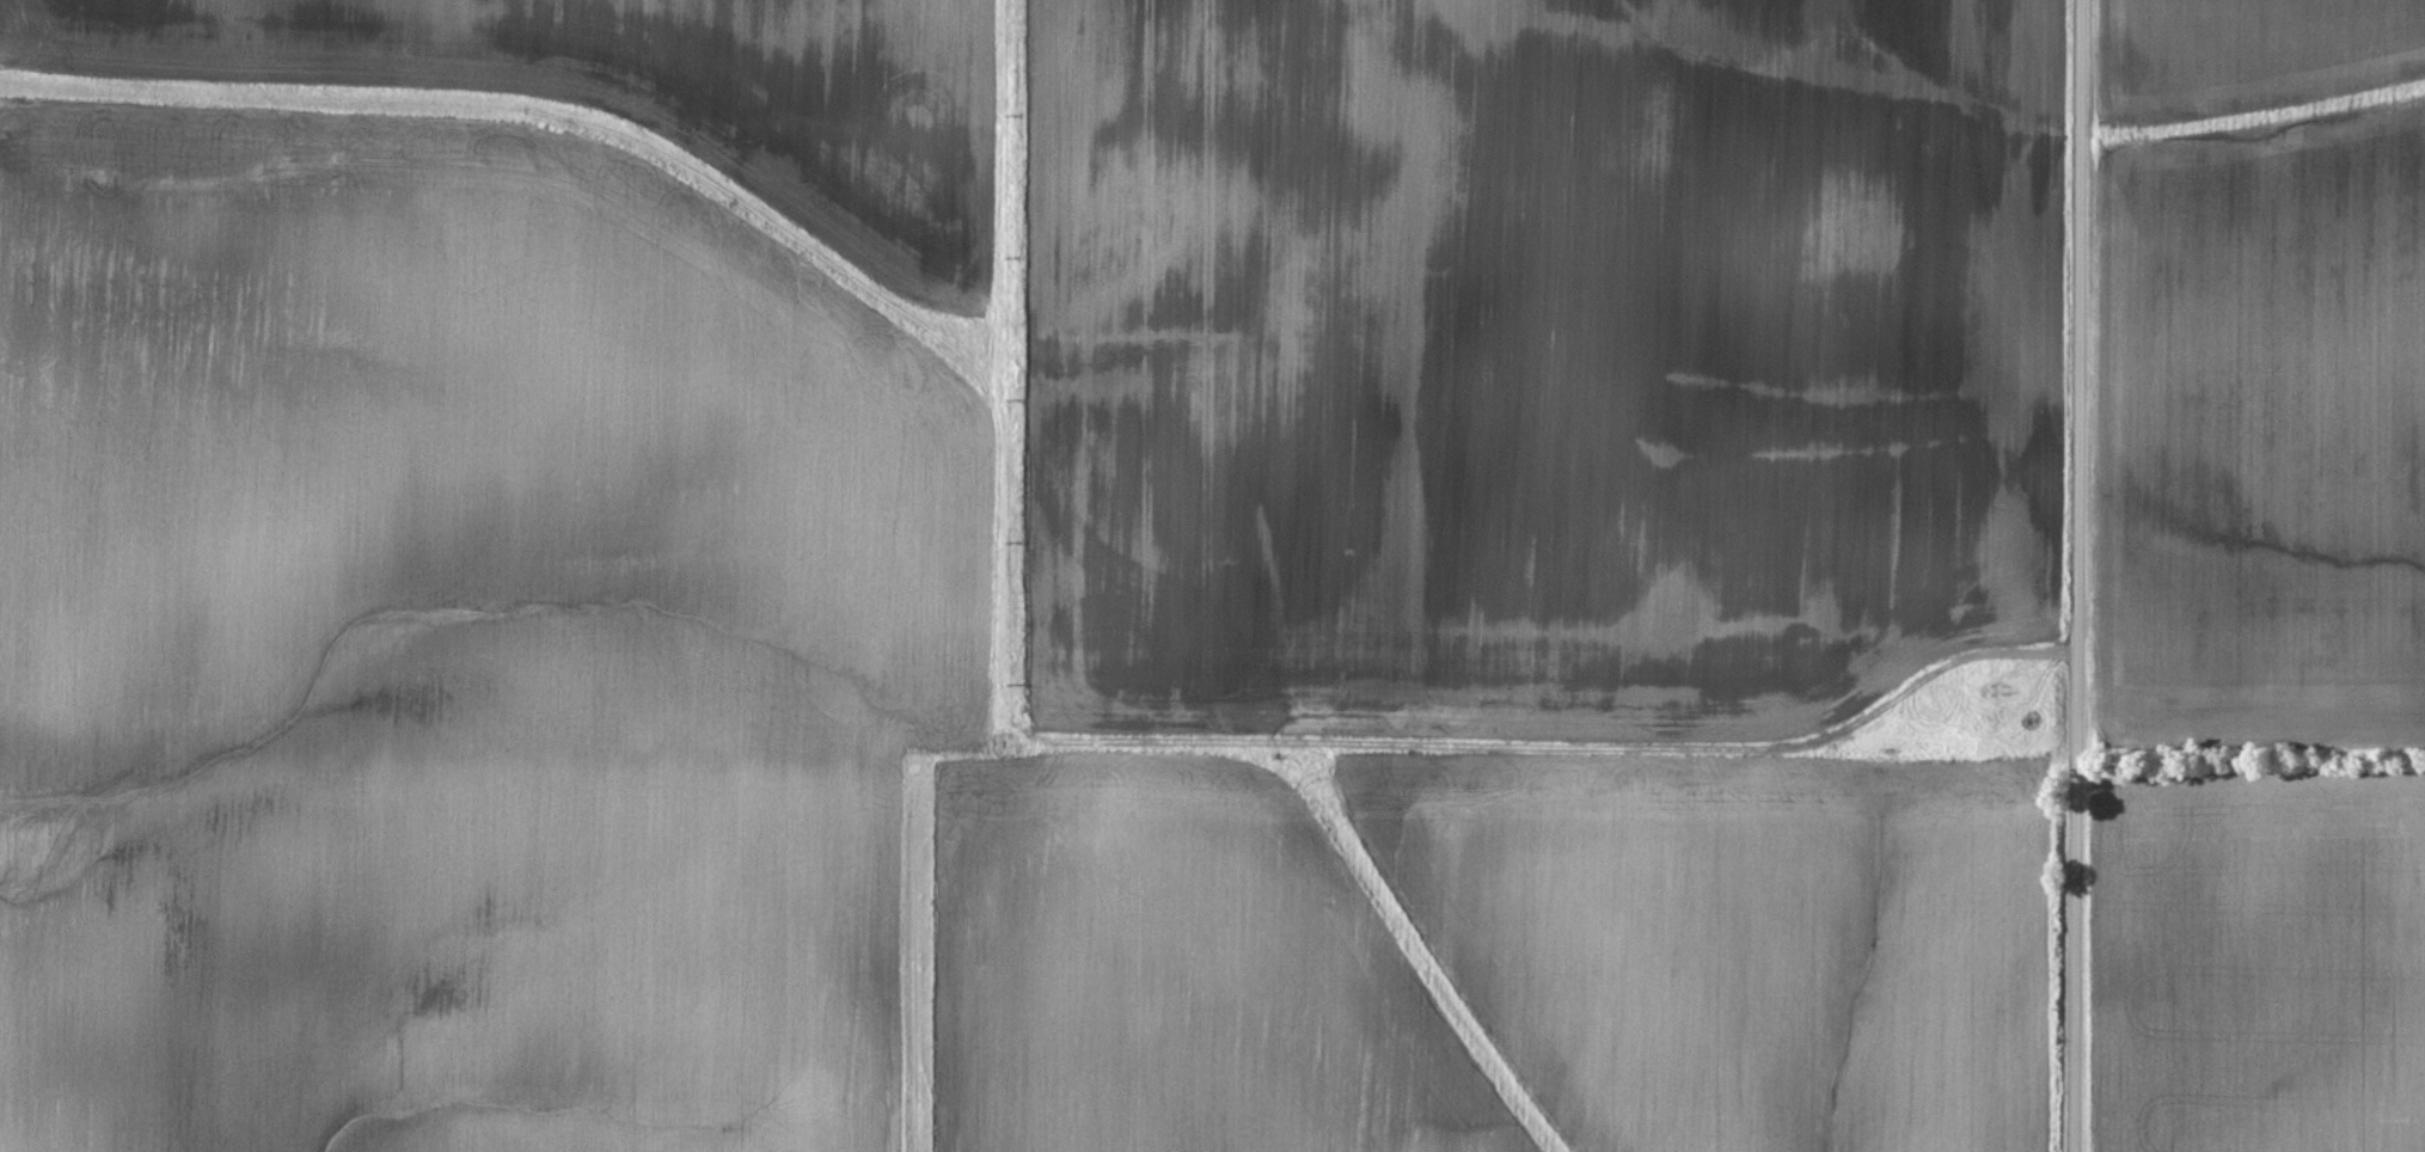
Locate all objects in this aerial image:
road: (2087, 576)

